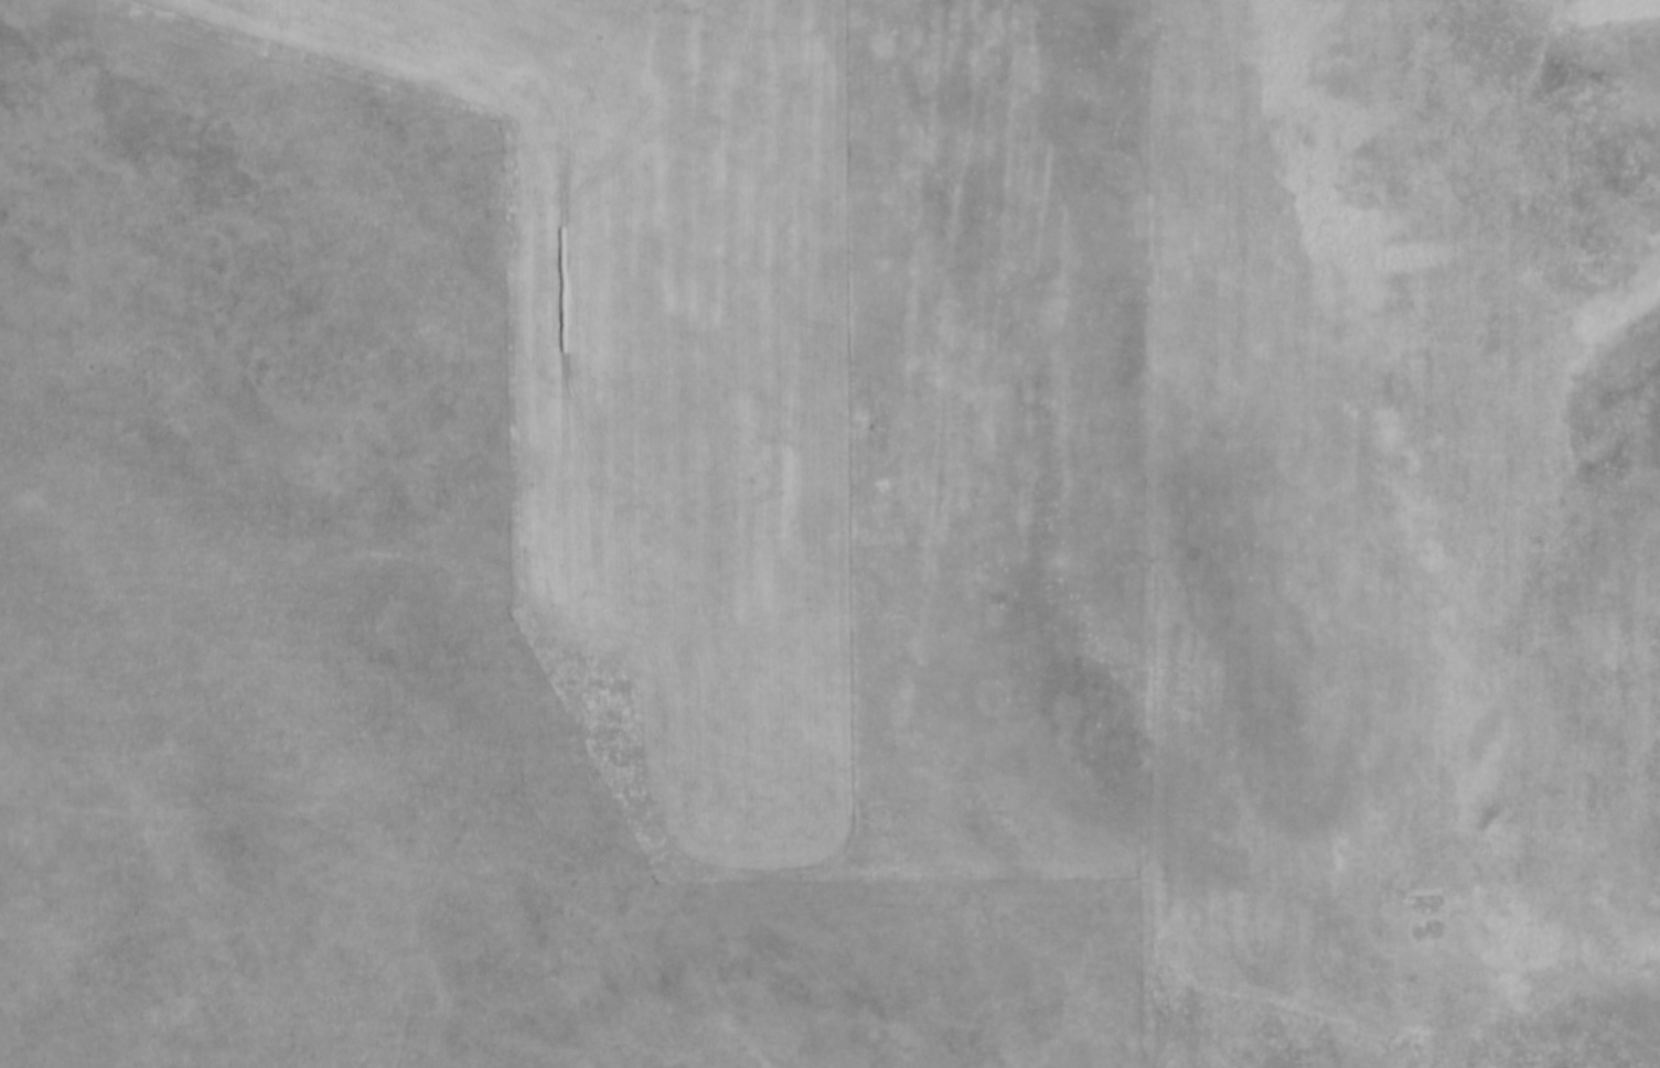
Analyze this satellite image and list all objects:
building: (1581, 641)

